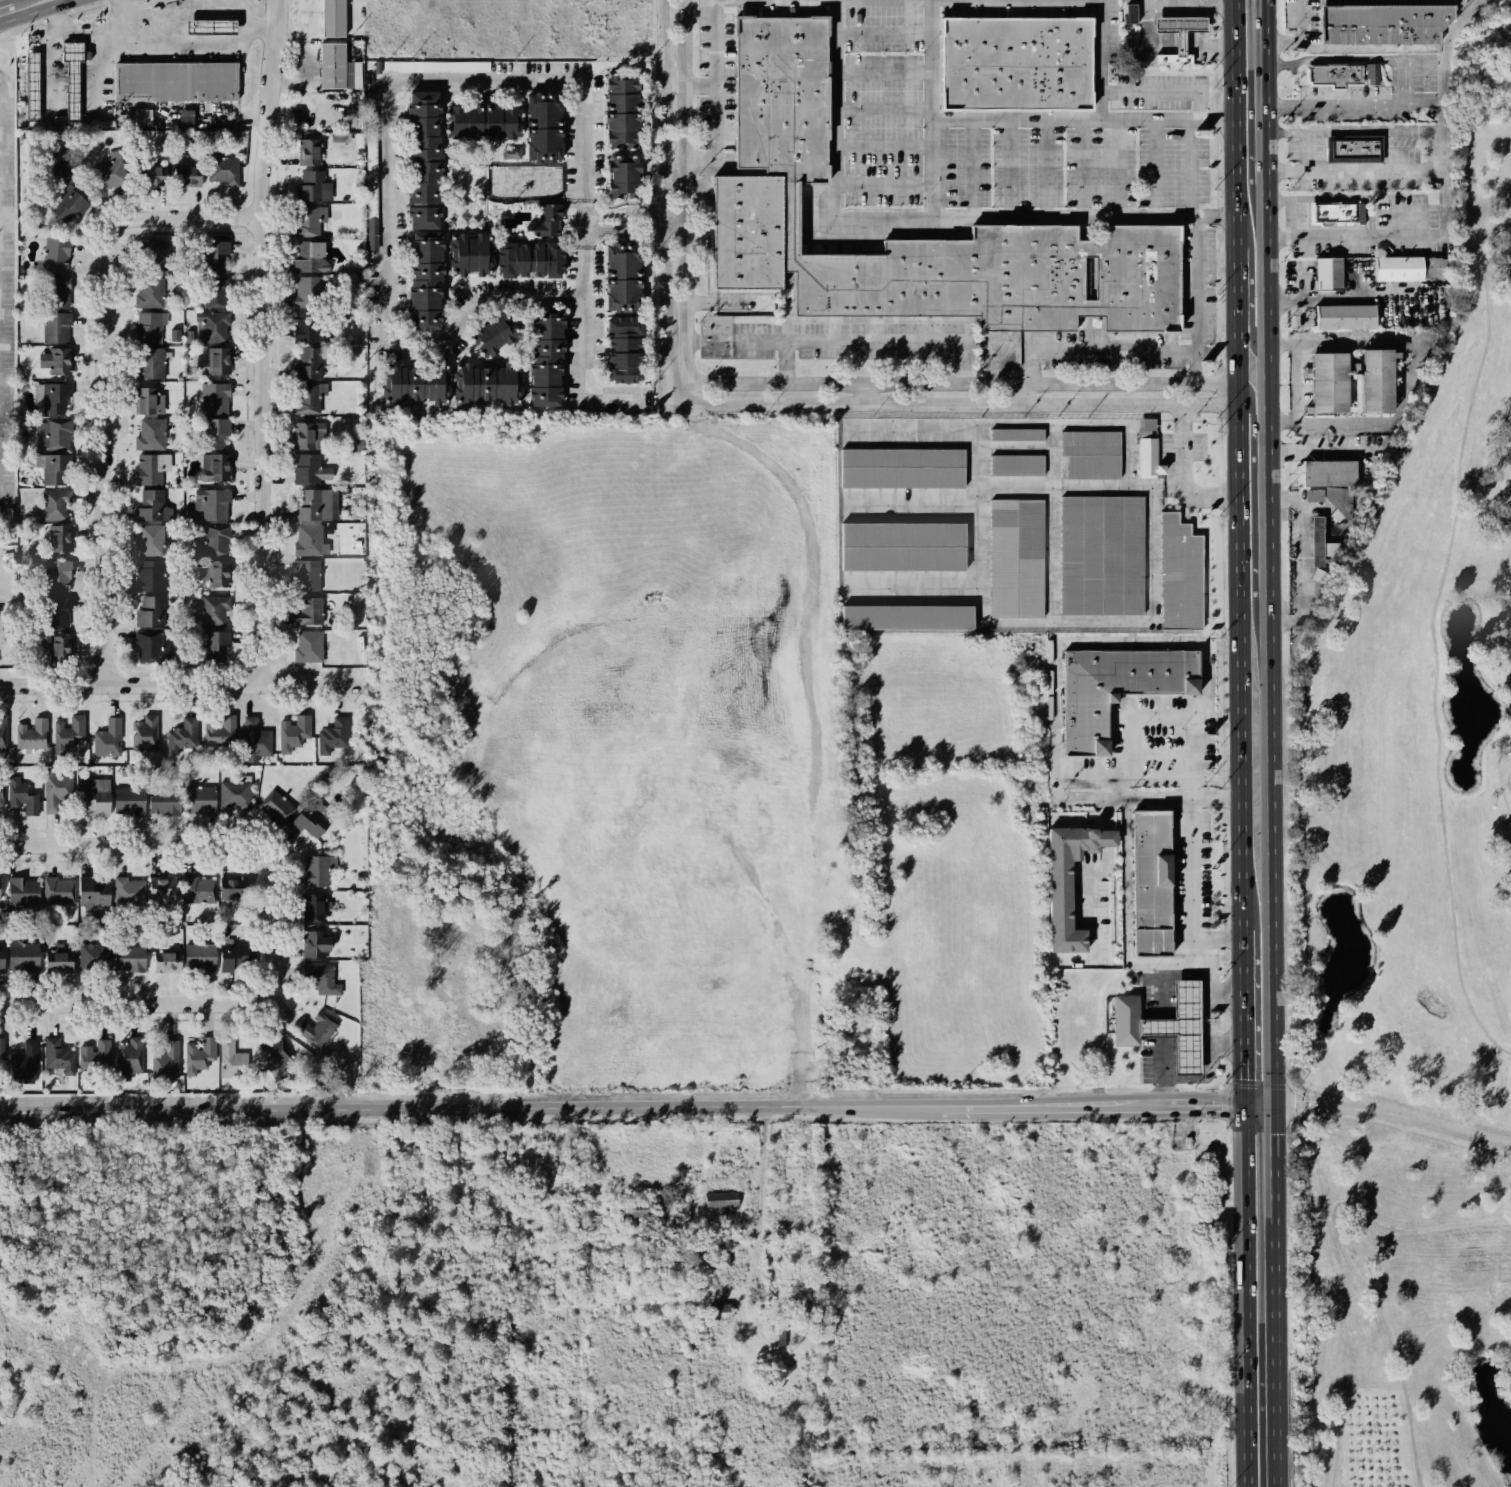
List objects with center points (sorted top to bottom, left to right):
road: (1216, 0)
road: (228, 9)
road: (34, 10)
road: (154, 12)
building: (1130, 13)
road: (120, 18)
building: (333, 19)
road: (182, 22)
road: (1202, 22)
gas station: (1180, 25)
building: (211, 26)
gas station: (211, 27)
building: (1383, 27)
road: (888, 33)
building: (1180, 34)
road: (1298, 36)
road: (1196, 40)
road: (1159, 41)
road: (1175, 41)
road: (1130, 43)
road: (1169, 43)
road: (161, 45)
road: (1175, 51)
road: (50, 57)
road: (1347, 57)
road: (1101, 59)
building: (1016, 65)
building: (435, 66)
building: (331, 67)
road: (887, 71)
road: (1440, 75)
building: (71, 76)
building: (1344, 77)
road: (1403, 80)
building: (175, 83)
road: (690, 84)
building: (31, 88)
road: (1164, 90)
road: (717, 94)
building: (780, 94)
road: (1422, 100)
road: (1282, 105)
building: (616, 108)
road: (886, 109)
road: (392, 114)
building: (142, 117)
road: (1023, 119)
building: (477, 120)
building: (540, 125)
road: (886, 146)
building: (309, 150)
building: (1355, 151)
building: (511, 153)
building: (419, 157)
road: (973, 164)
building: (372, 165)
road: (1010, 165)
road: (1047, 166)
road: (1084, 166)
road: (1120, 166)
road: (1155, 166)
building: (221, 167)
road: (932, 170)
road: (1337, 170)
building: (109, 173)
building: (150, 175)
building: (186, 175)
building: (619, 177)
road: (886, 181)
building: (310, 184)
road: (1189, 187)
road: (662, 195)
building: (65, 198)
road: (1334, 199)
road: (684, 201)
road: (636, 211)
building: (1332, 215)
building: (544, 217)
building: (309, 218)
road: (1289, 219)
road: (902, 221)
building: (747, 234)
road: (1350, 237)
building: (55, 253)
building: (211, 253)
building: (465, 253)
building: (152, 255)
building: (307, 258)
building: (526, 259)
building: (1395, 270)
building: (620, 272)
building: (1328, 276)
building: (419, 279)
building: (1009, 280)
road: (1194, 284)
building: (54, 290)
building: (311, 290)
building: (217, 291)
parking lot: (6, 293)
building: (152, 293)
road: (713, 301)
road: (1247, 315)
building: (1346, 320)
building: (215, 326)
building: (54, 327)
building: (152, 327)
building: (306, 327)
building: (486, 333)
building: (174, 338)
road: (846, 340)
road: (259, 341)
building: (618, 346)
building: (187, 348)
road: (1099, 351)
building: (214, 360)
building: (542, 361)
building: (56, 362)
building: (147, 362)
road: (786, 362)
building: (308, 363)
road: (1407, 370)
road: (98, 376)
building: (179, 376)
building: (483, 381)
road: (588, 381)
building: (413, 383)
road: (949, 383)
road: (1295, 383)
road: (1221, 392)
road: (865, 393)
building: (308, 395)
building: (1377, 396)
building: (54, 398)
building: (213, 398)
building: (148, 399)
road: (948, 404)
road: (1252, 417)
road: (1183, 419)
road: (1210, 421)
road: (1082, 424)
building: (1146, 426)
building: (212, 431)
building: (151, 433)
building: (56, 434)
building: (307, 434)
road: (1160, 434)
building: (1017, 436)
building: (360, 444)
road: (1015, 448)
road: (1052, 454)
building: (1091, 456)
building: (1148, 460)
building: (1015, 465)
building: (214, 466)
building: (903, 466)
building: (54, 467)
building: (147, 468)
building: (310, 468)
road: (1181, 475)
building: (1330, 476)
road: (1237, 479)
road: (1079, 486)
building: (354, 491)
building: (1340, 502)
building: (56, 503)
building: (212, 503)
road: (910, 504)
building: (314, 505)
road: (976, 506)
building: (151, 507)
building: (327, 527)
road: (1342, 528)
building: (60, 538)
building: (216, 539)
building: (309, 540)
building: (152, 542)
building: (357, 543)
building: (1321, 543)
building: (903, 546)
road: (1266, 550)
road: (1051, 554)
road: (1301, 556)
building: (1102, 557)
building: (1015, 560)
building: (220, 574)
building: (308, 574)
building: (60, 575)
building: (1319, 575)
building: (149, 576)
building: (1179, 577)
building: (213, 608)
building: (59, 610)
building: (308, 610)
building: (150, 612)
road: (1286, 613)
building: (907, 617)
road: (1114, 622)
road: (1432, 636)
road: (1142, 642)
building: (311, 646)
building: (148, 647)
building: (215, 647)
building: (61, 649)
road: (182, 684)
building: (1114, 687)
building: (220, 730)
building: (3, 732)
building: (68, 732)
building: (145, 733)
building: (294, 733)
building: (32, 734)
building: (183, 735)
building: (333, 737)
building: (107, 738)
building: (255, 739)
road: (1499, 769)
road: (1123, 785)
building: (55, 789)
building: (236, 792)
building: (2, 793)
building: (94, 795)
building: (21, 796)
building: (199, 799)
building: (130, 801)
building: (164, 801)
building: (320, 805)
building: (276, 806)
building: (309, 820)
road: (108, 842)
road: (114, 859)
road: (1098, 866)
building: (320, 868)
building: (360, 877)
building: (1069, 880)
building: (1151, 884)
building: (163, 887)
building: (235, 887)
building: (199, 889)
building: (57, 890)
building: (22, 891)
building: (93, 892)
building: (128, 892)
park: (1415, 893)
park: (1413, 900)
building: (314, 906)
building: (95, 919)
road: (288, 922)
building: (105, 927)
building: (317, 942)
building: (233, 954)
building: (23, 955)
building: (93, 955)
building: (199, 956)
building: (1, 957)
building: (129, 957)
building: (59, 958)
road: (1191, 958)
building: (166, 961)
building: (322, 978)
road: (55, 988)
road: (173, 988)
road: (1211, 990)
road: (233, 1003)
park: (1402, 1011)
building: (1125, 1019)
road: (1160, 1021)
building: (1181, 1026)
gas station: (1179, 1027)
building: (317, 1028)
road: (1242, 1029)
building: (275, 1050)
building: (1, 1054)
building: (199, 1054)
building: (58, 1055)
building: (95, 1056)
building: (129, 1057)
building: (228, 1058)
building: (25, 1061)
building: (166, 1061)
road: (1207, 1064)
traffic signals: (1242, 1100)
road: (1255, 1100)
traffic signals: (1269, 1101)
road: (620, 1102)
road: (1391, 1111)
building: (721, 1199)
building: (635, 1211)
road: (759, 1218)
building: (711, 1257)
road: (1346, 1259)
park: (1468, 1272)
road: (1243, 1293)
road: (1270, 1294)
building: (813, 1304)
building: (719, 1311)

